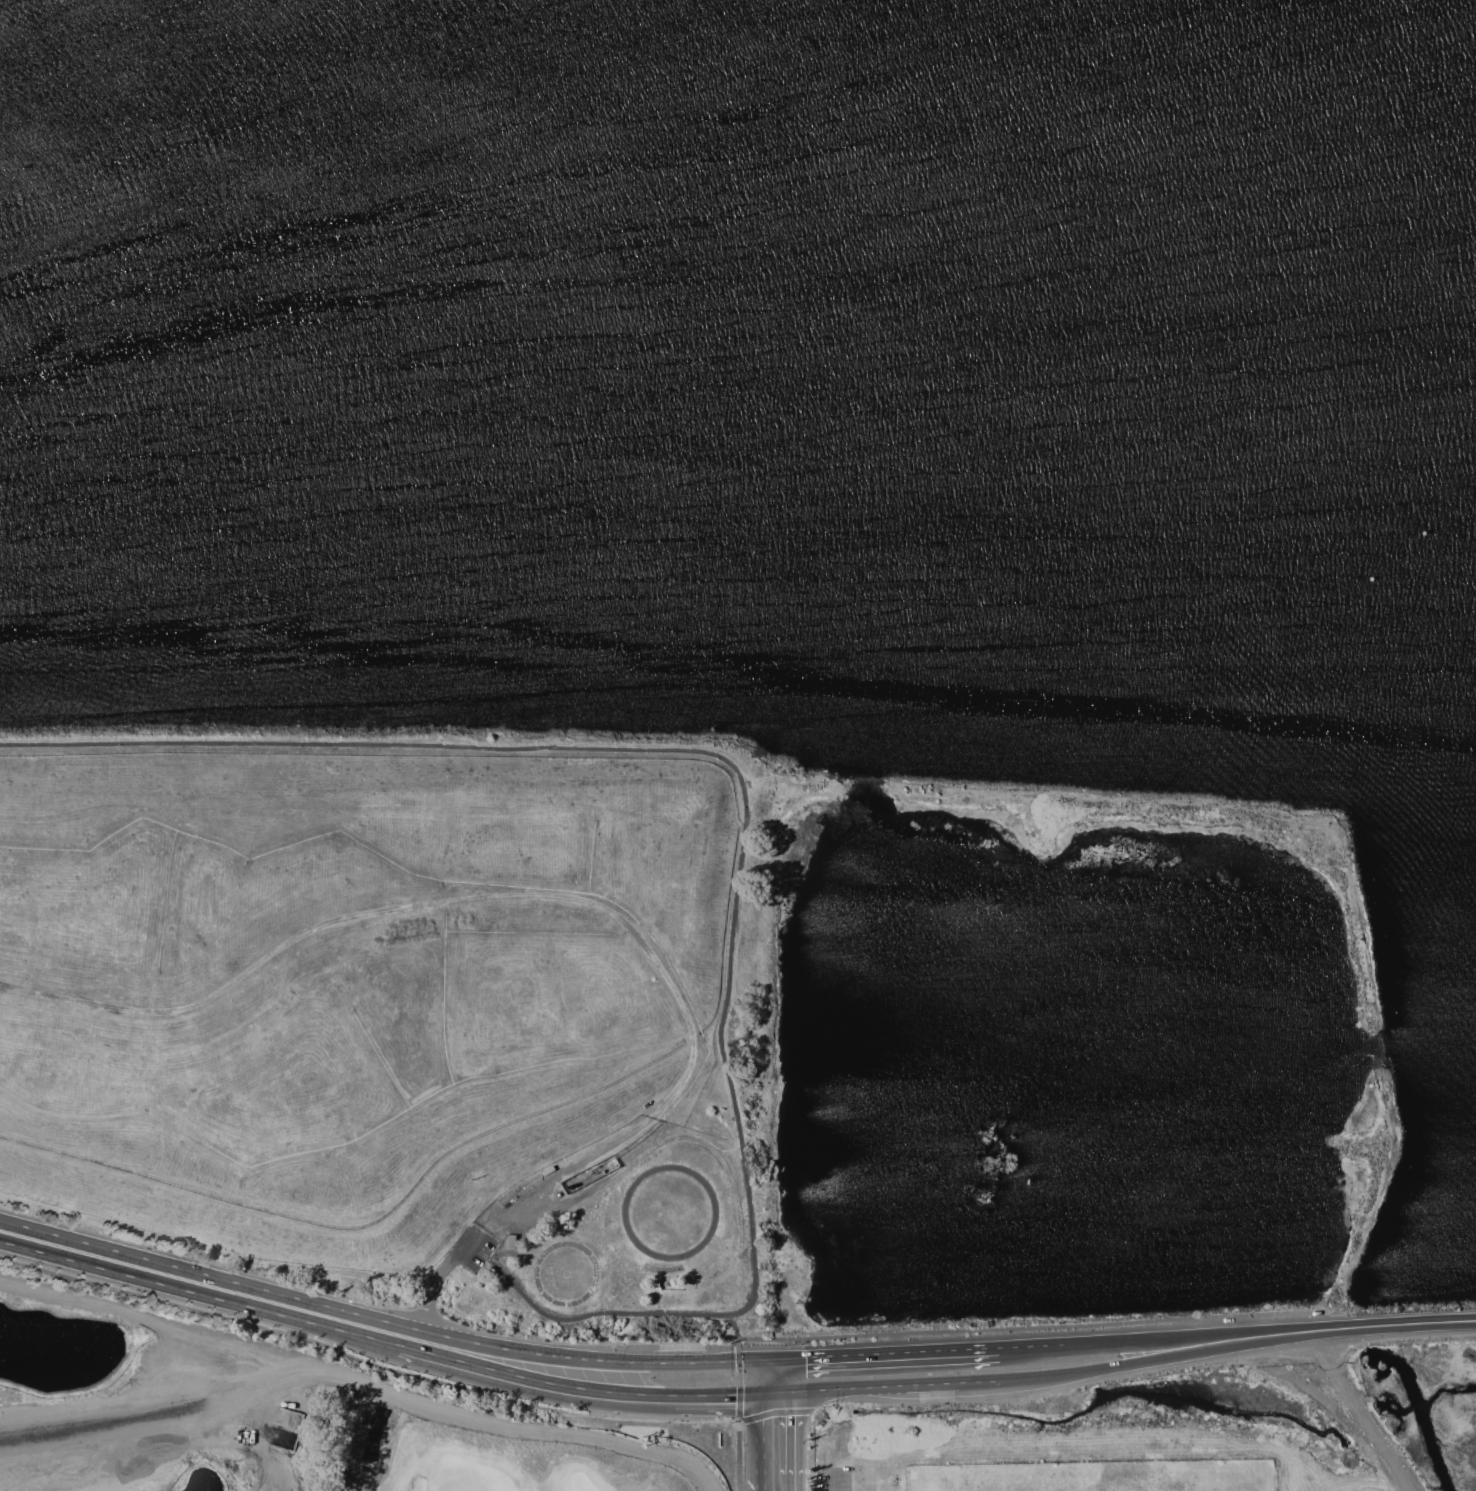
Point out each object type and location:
road: (651, 748)
landfill: (370, 975)
road: (567, 1172)
park: (637, 1237)
parking lot: (472, 1251)
road: (443, 1274)
road: (199, 1293)
road: (586, 1315)
road: (386, 1319)
road: (1393, 1324)
road: (1191, 1338)
road: (746, 1344)
road: (1035, 1346)
road: (1322, 1349)
road: (890, 1354)
road: (1157, 1360)
road: (793, 1374)
road: (771, 1375)
road: (536, 1379)
road: (979, 1382)
road: (914, 1385)
road: (835, 1389)
road: (782, 1392)
road: (721, 1394)
airport: (1327, 1412)
park: (268, 1417)
road: (1373, 1429)
road: (798, 1433)
road: (736, 1435)
road: (766, 1442)
road: (225, 1452)
parking lot: (831, 1479)
road: (798, 1483)
road: (272, 1484)
road: (832, 1484)
park: (1168, 1489)
park: (1044, 1490)

